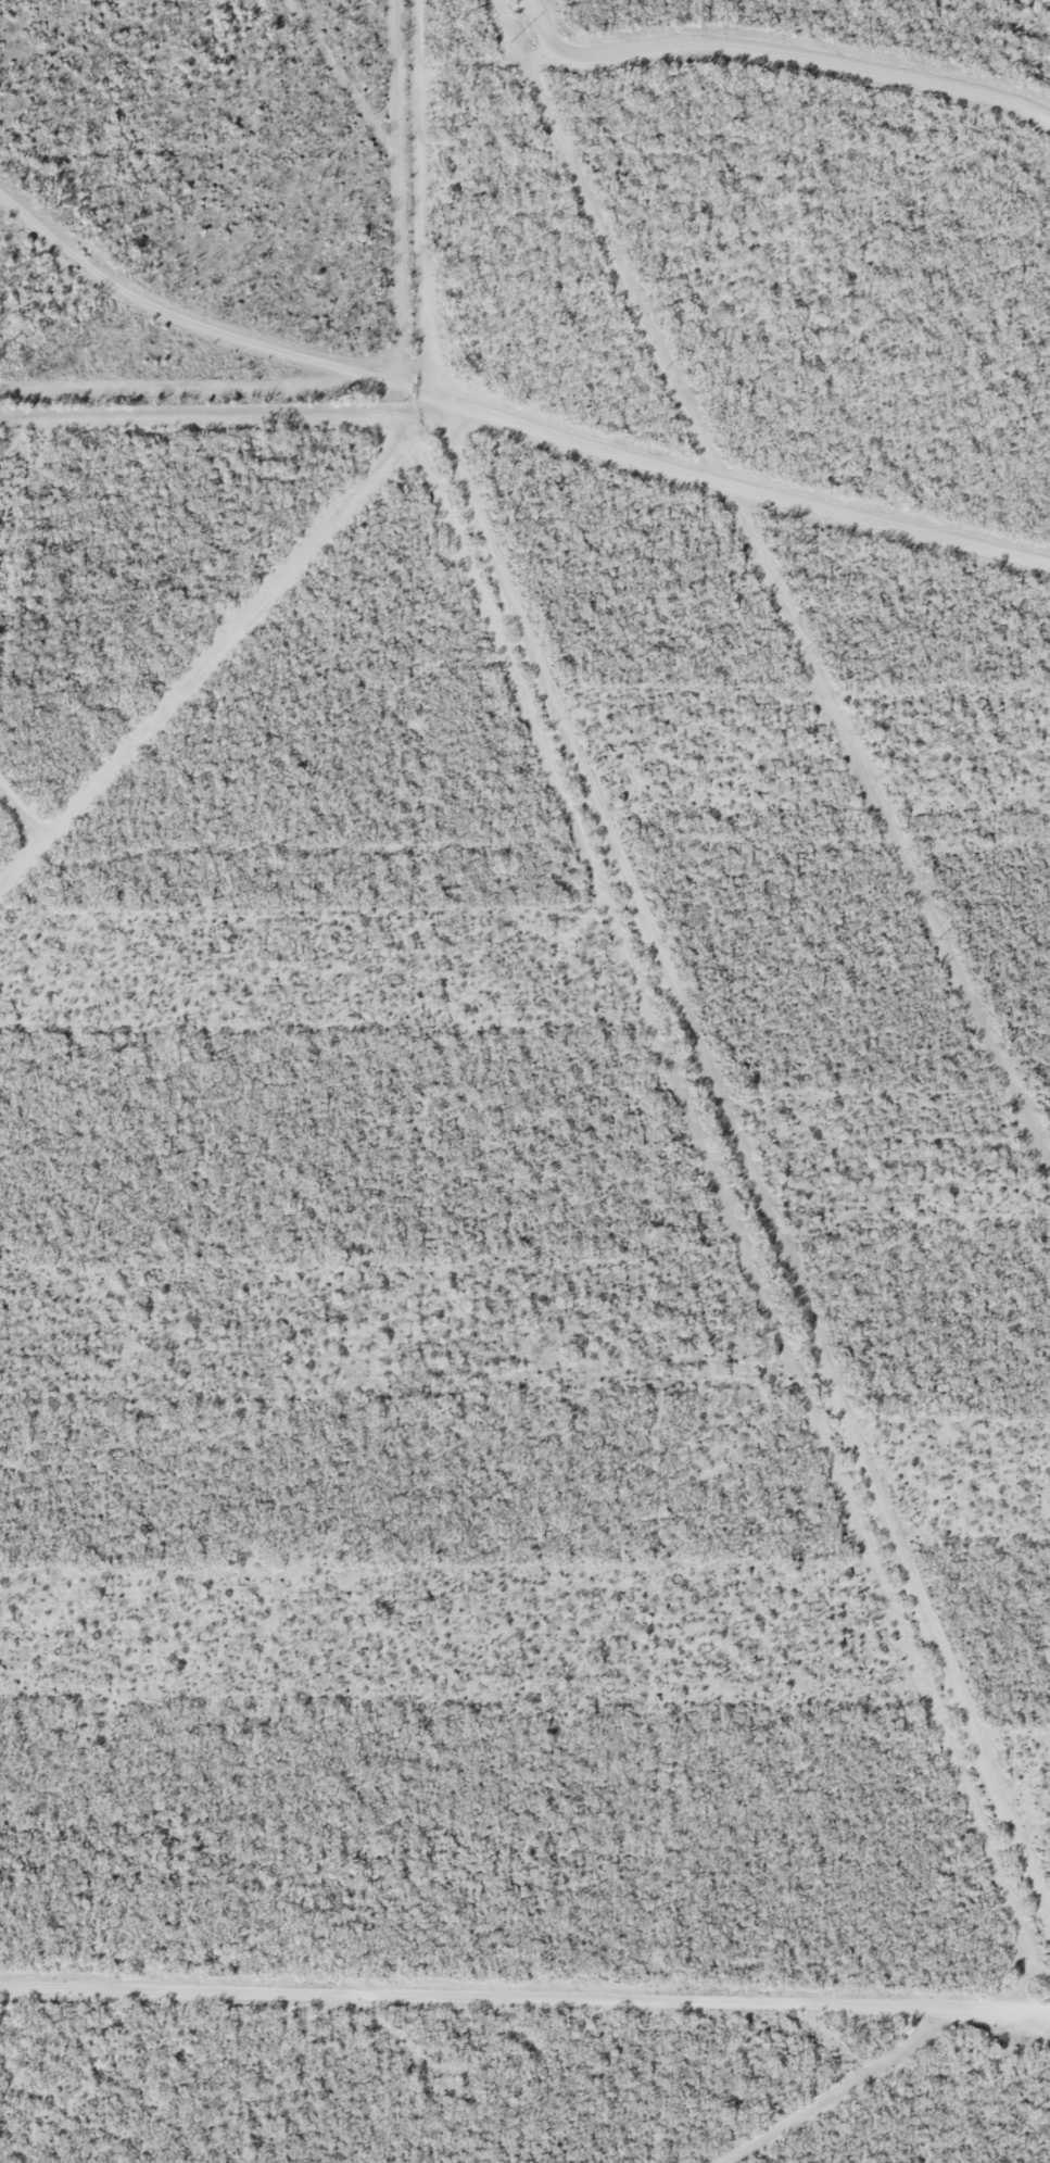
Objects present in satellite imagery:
power tower: (511, 40)
power tower: (667, 366)
road: (506, 417)
power tower: (802, 651)
power tower: (938, 936)

